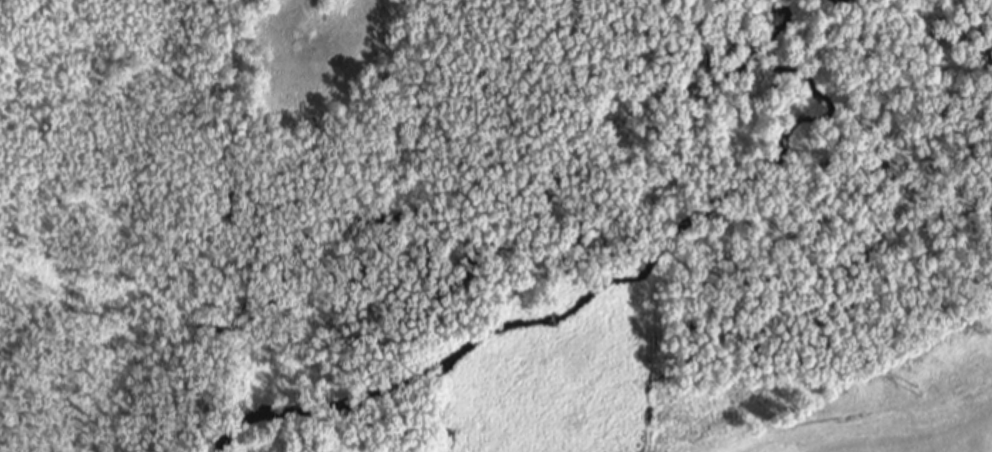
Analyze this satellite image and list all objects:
power tower: (915, 390)
park: (878, 392)

